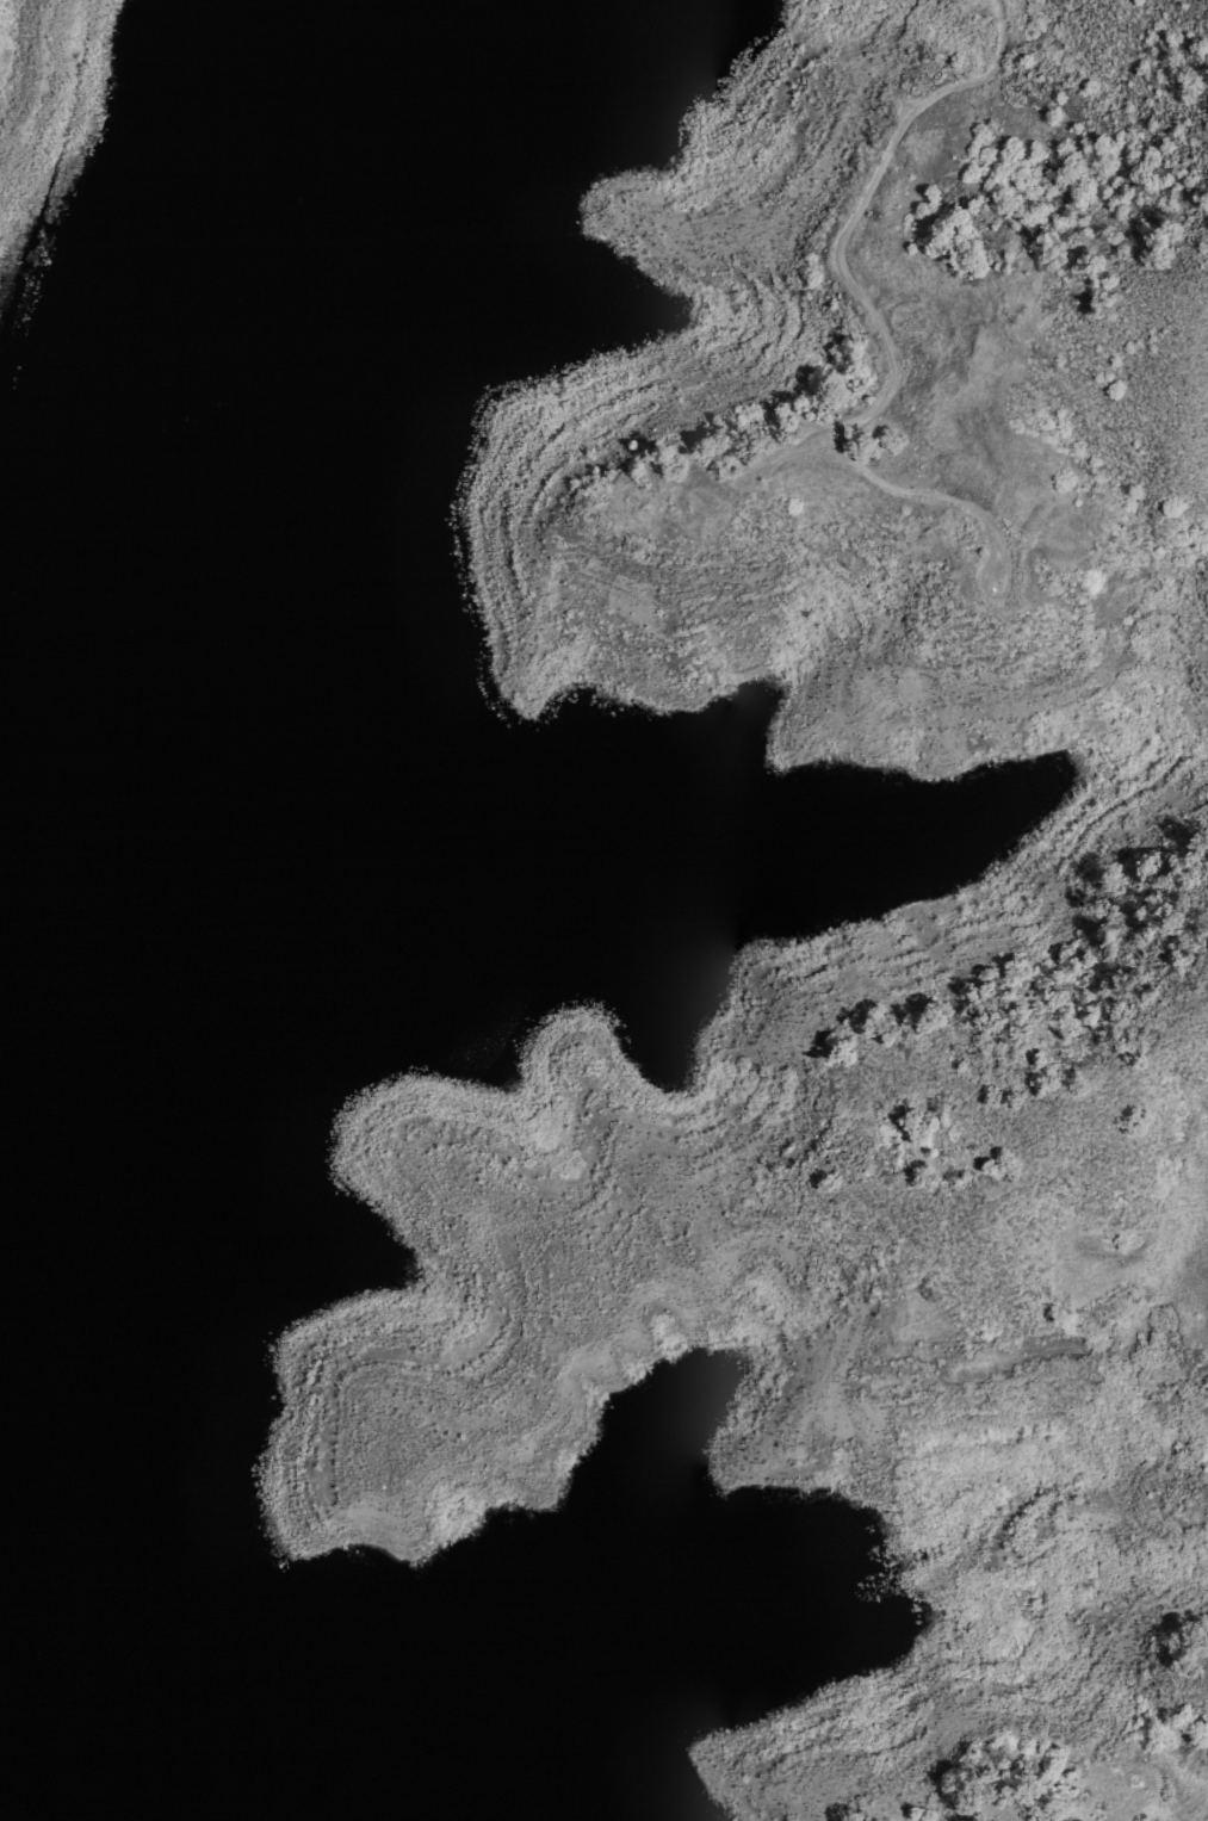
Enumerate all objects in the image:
park: (45, 131)
road: (50, 173)
road: (838, 253)
road: (931, 491)

